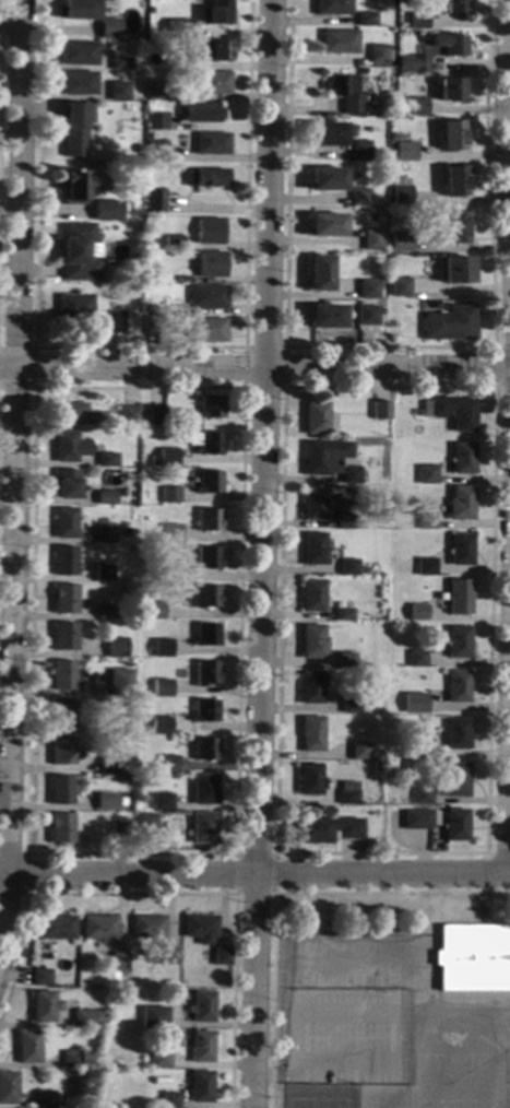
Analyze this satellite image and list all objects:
building: (454, 7)
building: (332, 8)
building: (76, 9)
building: (150, 11)
building: (215, 13)
building: (365, 20)
building: (419, 21)
road: (0, 22)
building: (180, 28)
building: (110, 30)
building: (339, 43)
building: (450, 46)
building: (215, 51)
building: (79, 54)
building: (378, 55)
building: (120, 63)
building: (182, 63)
building: (413, 64)
building: (361, 70)
building: (79, 84)
building: (213, 84)
building: (117, 91)
building: (155, 91)
building: (450, 91)
building: (345, 93)
road: (497, 95)
building: (416, 106)
building: (399, 110)
road: (509, 110)
building: (199, 113)
road: (509, 117)
building: (156, 122)
building: (75, 129)
building: (327, 134)
building: (452, 135)
building: (152, 137)
building: (392, 138)
building: (211, 144)
building: (139, 150)
building: (155, 151)
building: (360, 151)
building: (405, 152)
building: (381, 156)
building: (207, 178)
building: (325, 180)
building: (454, 181)
building: (74, 191)
building: (401, 193)
building: (359, 198)
building: (154, 201)
building: (106, 211)
building: (325, 226)
building: (455, 227)
building: (210, 232)
building: (371, 241)
building: (400, 241)
building: (173, 243)
building: (76, 254)
building: (211, 266)
building: (456, 270)
building: (395, 273)
building: (319, 274)
building: (147, 276)
building: (381, 286)
building: (399, 288)
building: (367, 290)
building: (207, 298)
building: (149, 309)
building: (72, 310)
building: (366, 316)
building: (324, 317)
building: (112, 322)
building: (151, 325)
building: (449, 325)
building: (206, 331)
road: (140, 347)
road: (389, 347)
road: (35, 366)
road: (494, 367)
road: (254, 369)
road: (241, 388)
road: (242, 388)
road: (283, 388)
building: (211, 408)
building: (380, 410)
building: (416, 413)
building: (451, 413)
building: (76, 415)
building: (130, 416)
building: (155, 416)
building: (318, 420)
building: (378, 431)
building: (210, 444)
building: (69, 447)
building: (325, 457)
building: (168, 458)
building: (463, 459)
building: (107, 460)
building: (349, 475)
building: (426, 475)
road: (15, 482)
building: (209, 482)
building: (66, 484)
building: (120, 493)
building: (170, 495)
building: (105, 498)
building: (461, 504)
building: (313, 505)
building: (107, 520)
building: (209, 521)
building: (343, 521)
building: (426, 522)
building: (64, 523)
building: (124, 532)
building: (171, 534)
building: (105, 535)
building: (313, 550)
building: (461, 551)
road: (261, 554)
building: (207, 558)
building: (64, 562)
building: (348, 567)
building: (426, 567)
building: (104, 573)
building: (167, 573)
building: (203, 597)
building: (312, 597)
building: (460, 597)
building: (63, 599)
building: (155, 612)
building: (106, 613)
building: (418, 613)
building: (343, 615)
building: (207, 635)
building: (63, 637)
building: (313, 643)
building: (459, 643)
building: (116, 648)
building: (163, 648)
building: (417, 659)
building: (346, 660)
building: (206, 674)
building: (62, 675)
building: (114, 687)
building: (162, 687)
building: (459, 687)
building: (311, 688)
building: (351, 704)
building: (415, 704)
building: (205, 711)
building: (62, 714)
building: (117, 724)
building: (161, 726)
building: (458, 733)
building: (311, 734)
building: (205, 750)
building: (62, 751)
building: (419, 751)
building: (359, 752)
building: (109, 764)
building: (169, 765)
building: (377, 766)
building: (124, 769)
building: (309, 779)
building: (458, 780)
building: (60, 790)
building: (204, 790)
building: (348, 792)
building: (422, 795)
building: (107, 803)
building: (163, 803)
road: (509, 817)
building: (419, 820)
building: (145, 825)
building: (456, 825)
building: (119, 827)
building: (60, 828)
building: (204, 828)
building: (329, 830)
road: (498, 853)
road: (27, 873)
road: (254, 875)
road: (173, 894)
road: (235, 894)
road: (284, 894)
road: (304, 915)
road: (435, 922)
building: (149, 927)
building: (98, 928)
building: (56, 929)
building: (201, 929)
building: (171, 956)
building: (47, 957)
building: (223, 957)
building: (473, 958)
building: (119, 963)
park: (307, 963)
park: (357, 971)
park: (392, 971)
building: (41, 978)
building: (45, 1006)
building: (202, 1007)
road: (399, 1014)
building: (88, 1019)
building: (157, 1023)
parking lot: (347, 1036)
road: (408, 1036)
building: (202, 1047)
building: (29, 1048)
building: (72, 1059)
building: (159, 1060)
road: (275, 1075)
park: (458, 1081)
building: (201, 1086)
building: (9, 1088)
park: (318, 1095)
building: (47, 1097)
building: (170, 1100)
park: (489, 1100)
building: (60, 1101)

